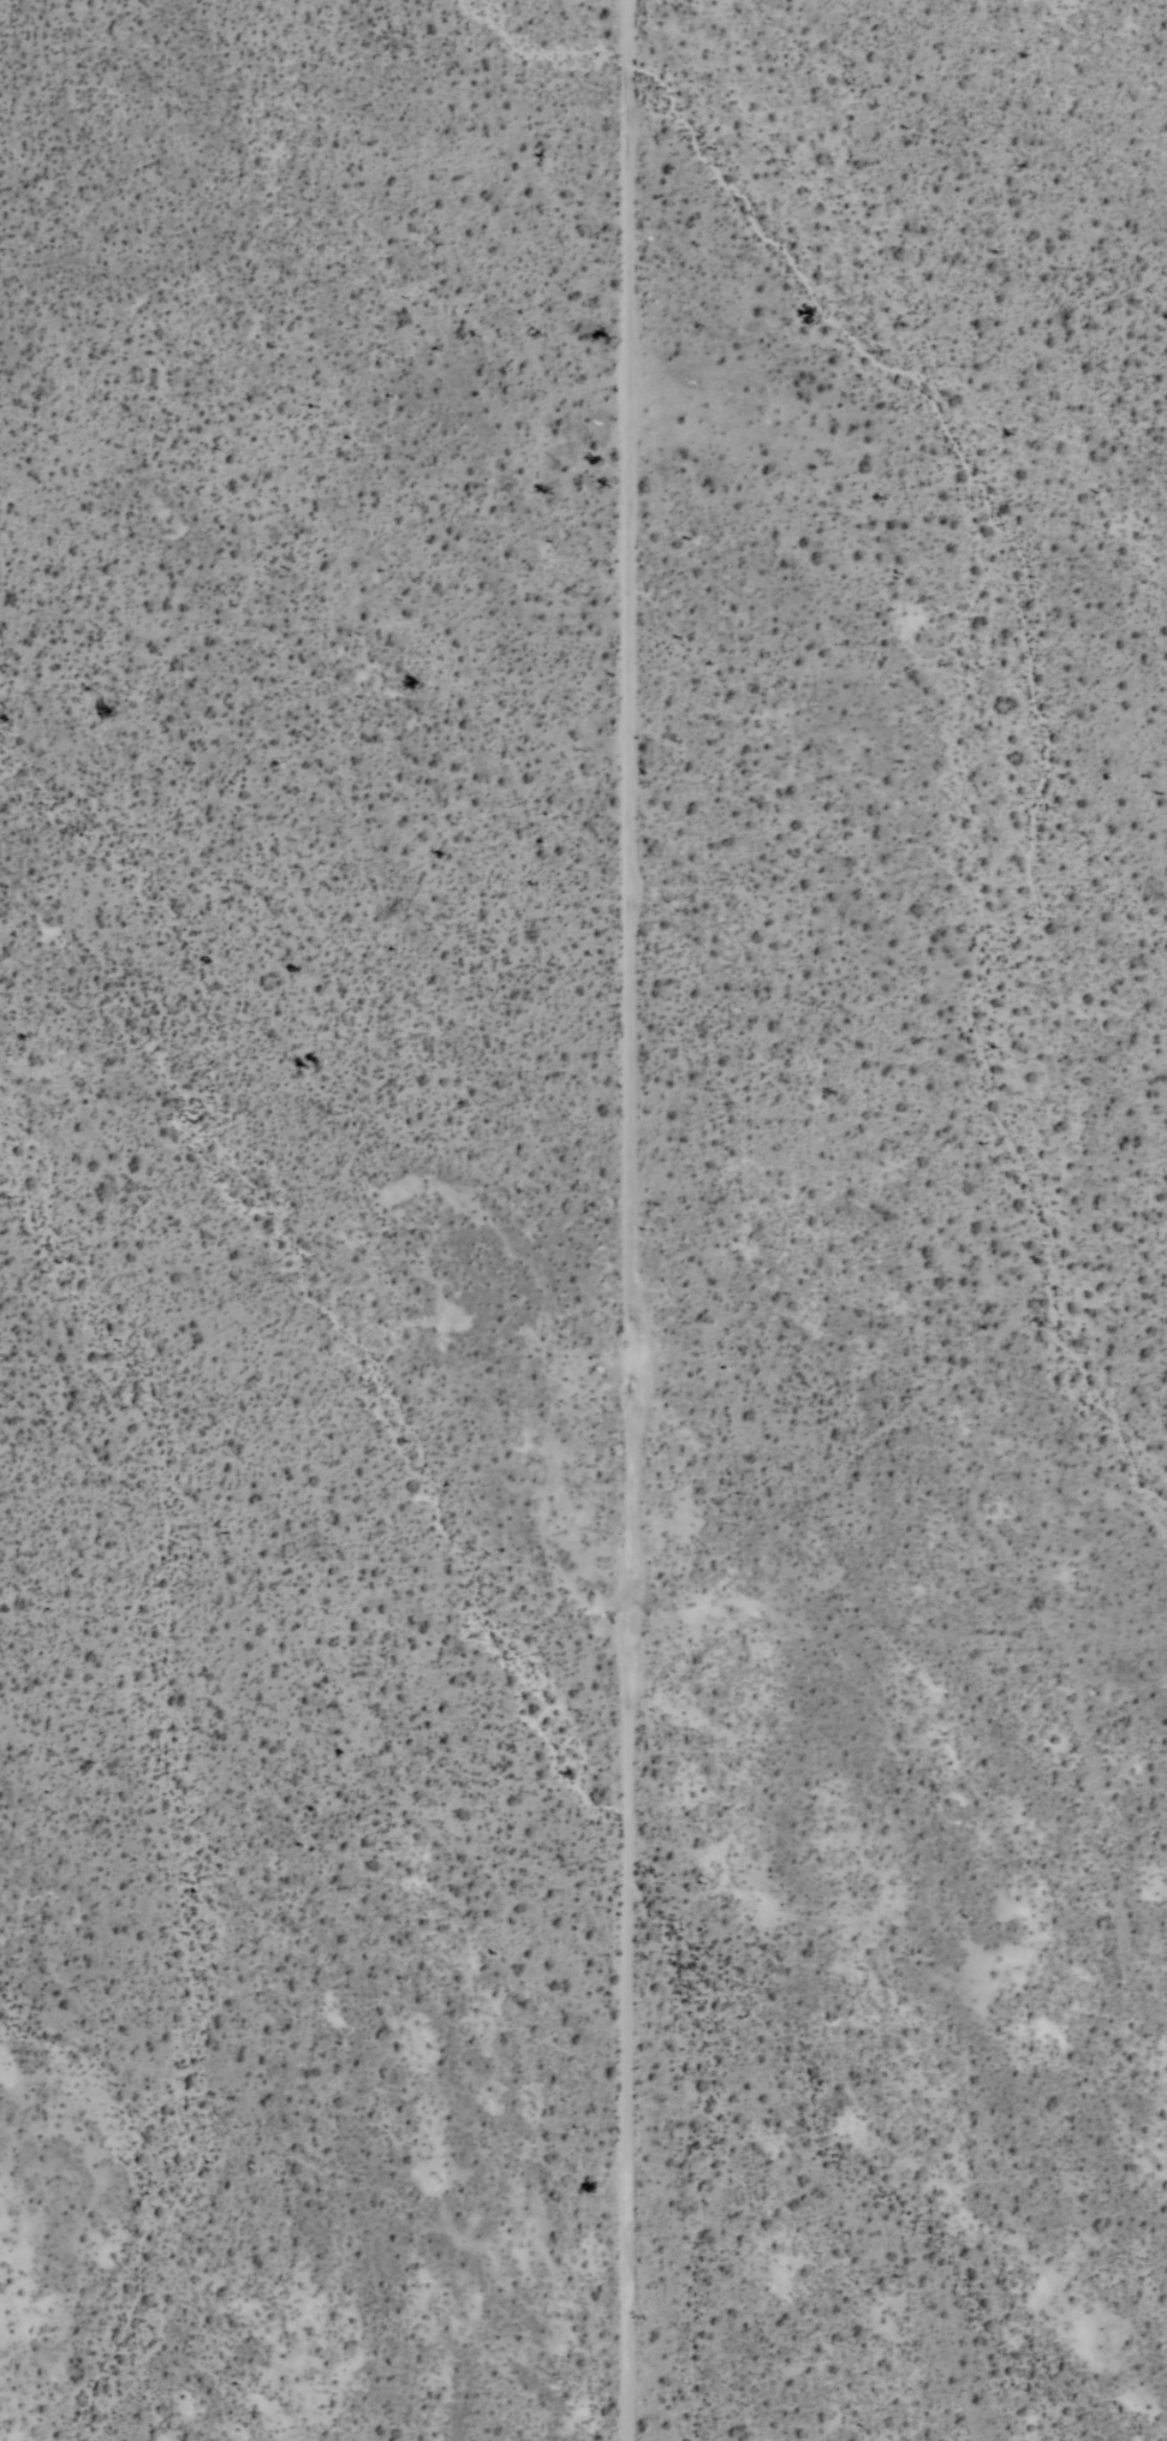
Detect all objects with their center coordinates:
road: (638, 1220)

